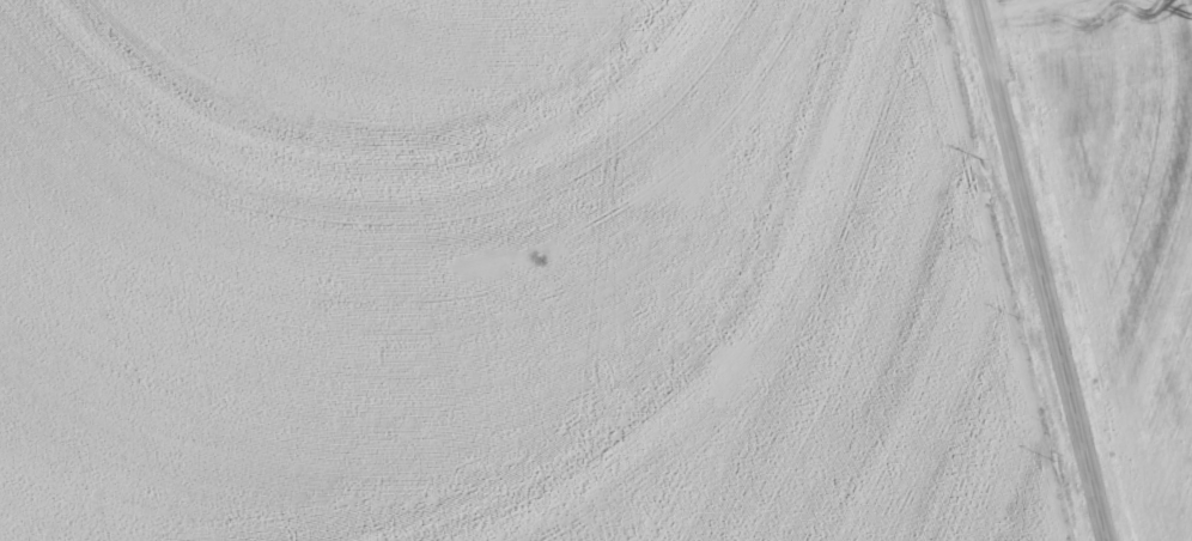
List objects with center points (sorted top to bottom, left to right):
road: (1045, 270)

